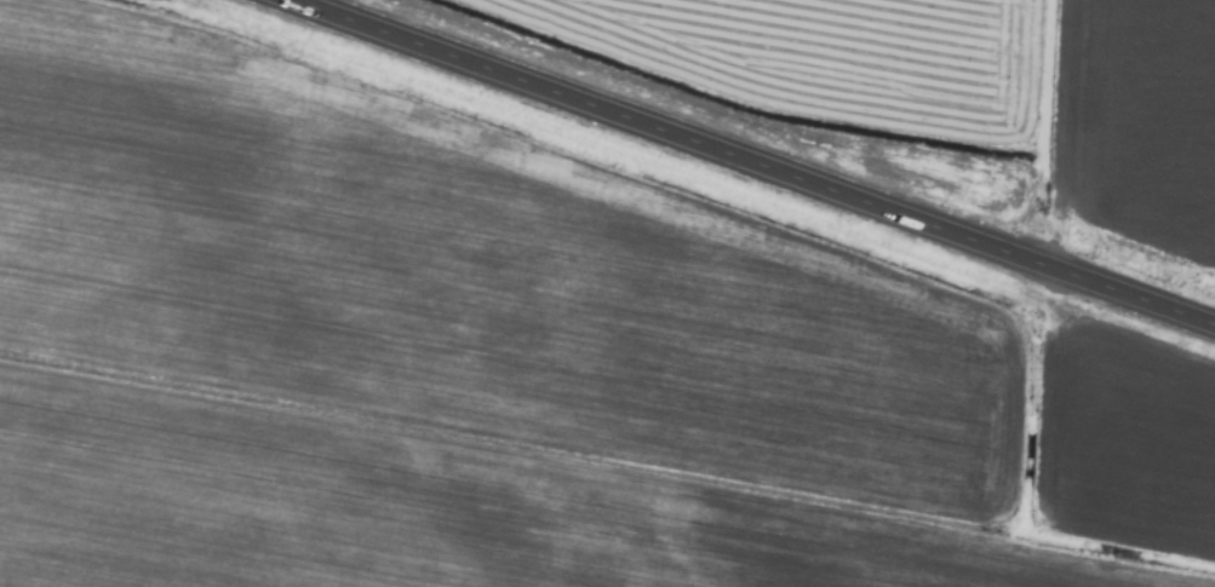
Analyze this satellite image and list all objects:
road: (751, 162)
crop: (607, 293)

